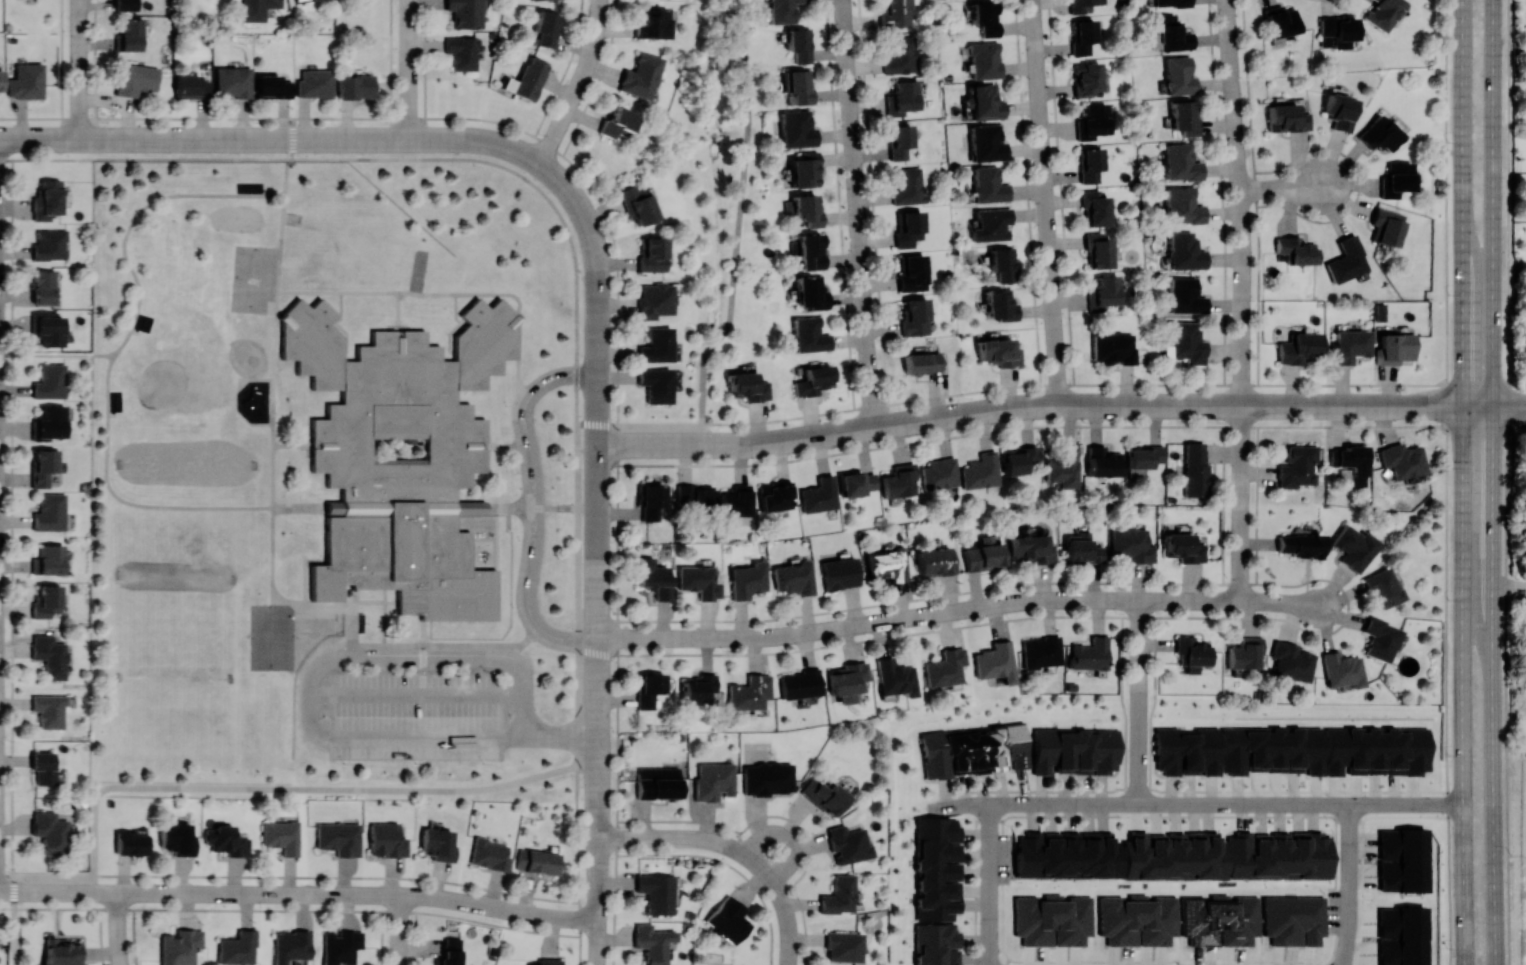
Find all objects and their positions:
building: (300, 0)
building: (1171, 3)
building: (126, 4)
building: (1083, 5)
building: (257, 9)
building: (782, 10)
road: (847, 10)
building: (465, 13)
building: (1384, 13)
building: (897, 14)
road: (80, 16)
building: (984, 17)
building: (1280, 22)
building: (653, 23)
building: (546, 28)
road: (848, 29)
building: (1337, 31)
building: (1169, 34)
building: (130, 35)
building: (1083, 36)
road: (80, 44)
building: (798, 44)
building: (461, 52)
building: (901, 55)
building: (984, 59)
road: (410, 69)
building: (641, 75)
building: (1179, 75)
building: (530, 77)
building: (1087, 78)
building: (137, 80)
building: (0, 81)
building: (26, 81)
building: (233, 81)
road: (1493, 81)
building: (315, 83)
road: (581, 85)
building: (191, 86)
building: (272, 86)
building: (354, 86)
building: (798, 86)
road: (80, 97)
building: (902, 97)
building: (983, 101)
building: (1339, 110)
building: (1184, 117)
building: (1286, 118)
building: (1095, 121)
building: (618, 122)
building: (796, 128)
building: (1378, 134)
road: (45, 139)
road: (283, 139)
building: (900, 141)
building: (986, 143)
road: (511, 147)
building: (1179, 163)
building: (1090, 164)
building: (804, 169)
building: (1395, 179)
building: (989, 185)
building: (908, 186)
road: (1281, 188)
building: (51, 192)
road: (575, 199)
road: (1046, 202)
road: (1240, 202)
building: (638, 205)
building: (1182, 205)
building: (1095, 208)
building: (807, 209)
road: (740, 215)
building: (991, 224)
building: (1386, 226)
building: (909, 228)
road: (862, 232)
building: (53, 239)
building: (1099, 248)
building: (1296, 249)
building: (810, 251)
building: (1185, 251)
building: (652, 255)
building: (1346, 260)
building: (1002, 263)
building: (913, 273)
building: (50, 280)
park: (255, 280)
building: (1104, 291)
building: (810, 292)
building: (1185, 296)
building: (654, 299)
building: (1000, 304)
building: (916, 317)
building: (53, 319)
building: (809, 334)
road: (599, 342)
building: (1185, 342)
road: (122, 343)
building: (656, 345)
building: (1349, 345)
building: (1113, 347)
building: (1300, 348)
building: (1393, 348)
building: (998, 352)
road: (57, 354)
building: (921, 362)
building: (53, 375)
building: (813, 380)
road: (1518, 382)
building: (656, 384)
building: (748, 386)
road: (1137, 405)
road: (1195, 405)
road: (1360, 406)
road: (1497, 406)
road: (1521, 406)
building: (51, 416)
road: (924, 421)
road: (637, 444)
road: (685, 444)
road: (710, 444)
road: (1241, 454)
building: (401, 455)
building: (1144, 456)
building: (1019, 459)
building: (1403, 460)
building: (47, 461)
building: (1104, 461)
park: (183, 462)
building: (1353, 462)
building: (1297, 466)
building: (1065, 467)
building: (1195, 469)
building: (982, 470)
building: (940, 473)
building: (899, 480)
road: (1447, 482)
road: (1463, 482)
road: (1506, 482)
building: (856, 483)
building: (819, 494)
building: (775, 495)
building: (695, 498)
building: (736, 500)
building: (651, 501)
road: (537, 505)
building: (54, 506)
building: (335, 506)
building: (472, 506)
building: (1131, 544)
building: (1300, 544)
building: (1183, 547)
building: (1354, 547)
building: (1032, 548)
building: (1082, 548)
road: (1240, 551)
building: (53, 553)
building: (983, 553)
building: (935, 561)
building: (888, 563)
road: (1494, 564)
building: (839, 572)
building: (794, 576)
building: (654, 577)
building: (747, 579)
building: (699, 581)
road: (1510, 585)
road: (599, 587)
building: (1381, 588)
building: (51, 596)
road: (1254, 600)
road: (1295, 603)
road: (919, 615)
road: (351, 619)
park: (185, 636)
park: (273, 636)
building: (1380, 639)
building: (56, 646)
road: (1141, 647)
building: (1040, 651)
building: (1191, 652)
building: (1244, 652)
road: (417, 654)
building: (1088, 654)
building: (1291, 661)
building: (995, 662)
building: (944, 667)
building: (1341, 669)
building: (895, 677)
building: (846, 680)
building: (799, 683)
building: (649, 688)
building: (697, 688)
building: (748, 692)
road: (321, 695)
road: (429, 695)
building: (57, 702)
road: (524, 715)
parking lot: (417, 716)
road: (311, 722)
road: (561, 735)
road: (515, 737)
road: (419, 739)
road: (1140, 749)
building: (975, 750)
building: (1075, 750)
building: (1187, 750)
building: (1326, 750)
building: (51, 761)
road: (599, 766)
building: (768, 778)
building: (713, 780)
building: (657, 782)
road: (448, 790)
building: (824, 796)
road: (1195, 804)
road: (599, 819)
building: (57, 822)
building: (282, 836)
road: (788, 837)
building: (177, 838)
building: (339, 838)
road: (644, 838)
road: (707, 838)
building: (227, 840)
building: (386, 840)
building: (131, 843)
building: (438, 843)
building: (848, 843)
road: (740, 851)
building: (489, 854)
building: (1121, 854)
building: (1277, 854)
building: (1402, 859)
building: (537, 861)
building: (937, 868)
road: (991, 884)
road: (1351, 884)
road: (4, 891)
road: (63, 891)
building: (656, 892)
road: (359, 893)
building: (839, 895)
road: (599, 901)
road: (119, 906)
road: (785, 908)
building: (1219, 914)
building: (1053, 919)
building: (1137, 919)
building: (728, 920)
road: (400, 929)
building: (1401, 935)
road: (119, 942)
building: (652, 942)
building: (936, 944)
building: (290, 945)
building: (181, 946)
building: (341, 946)
building: (844, 946)
building: (237, 948)
building: (62, 952)
building: (450, 952)
building: (548, 962)

